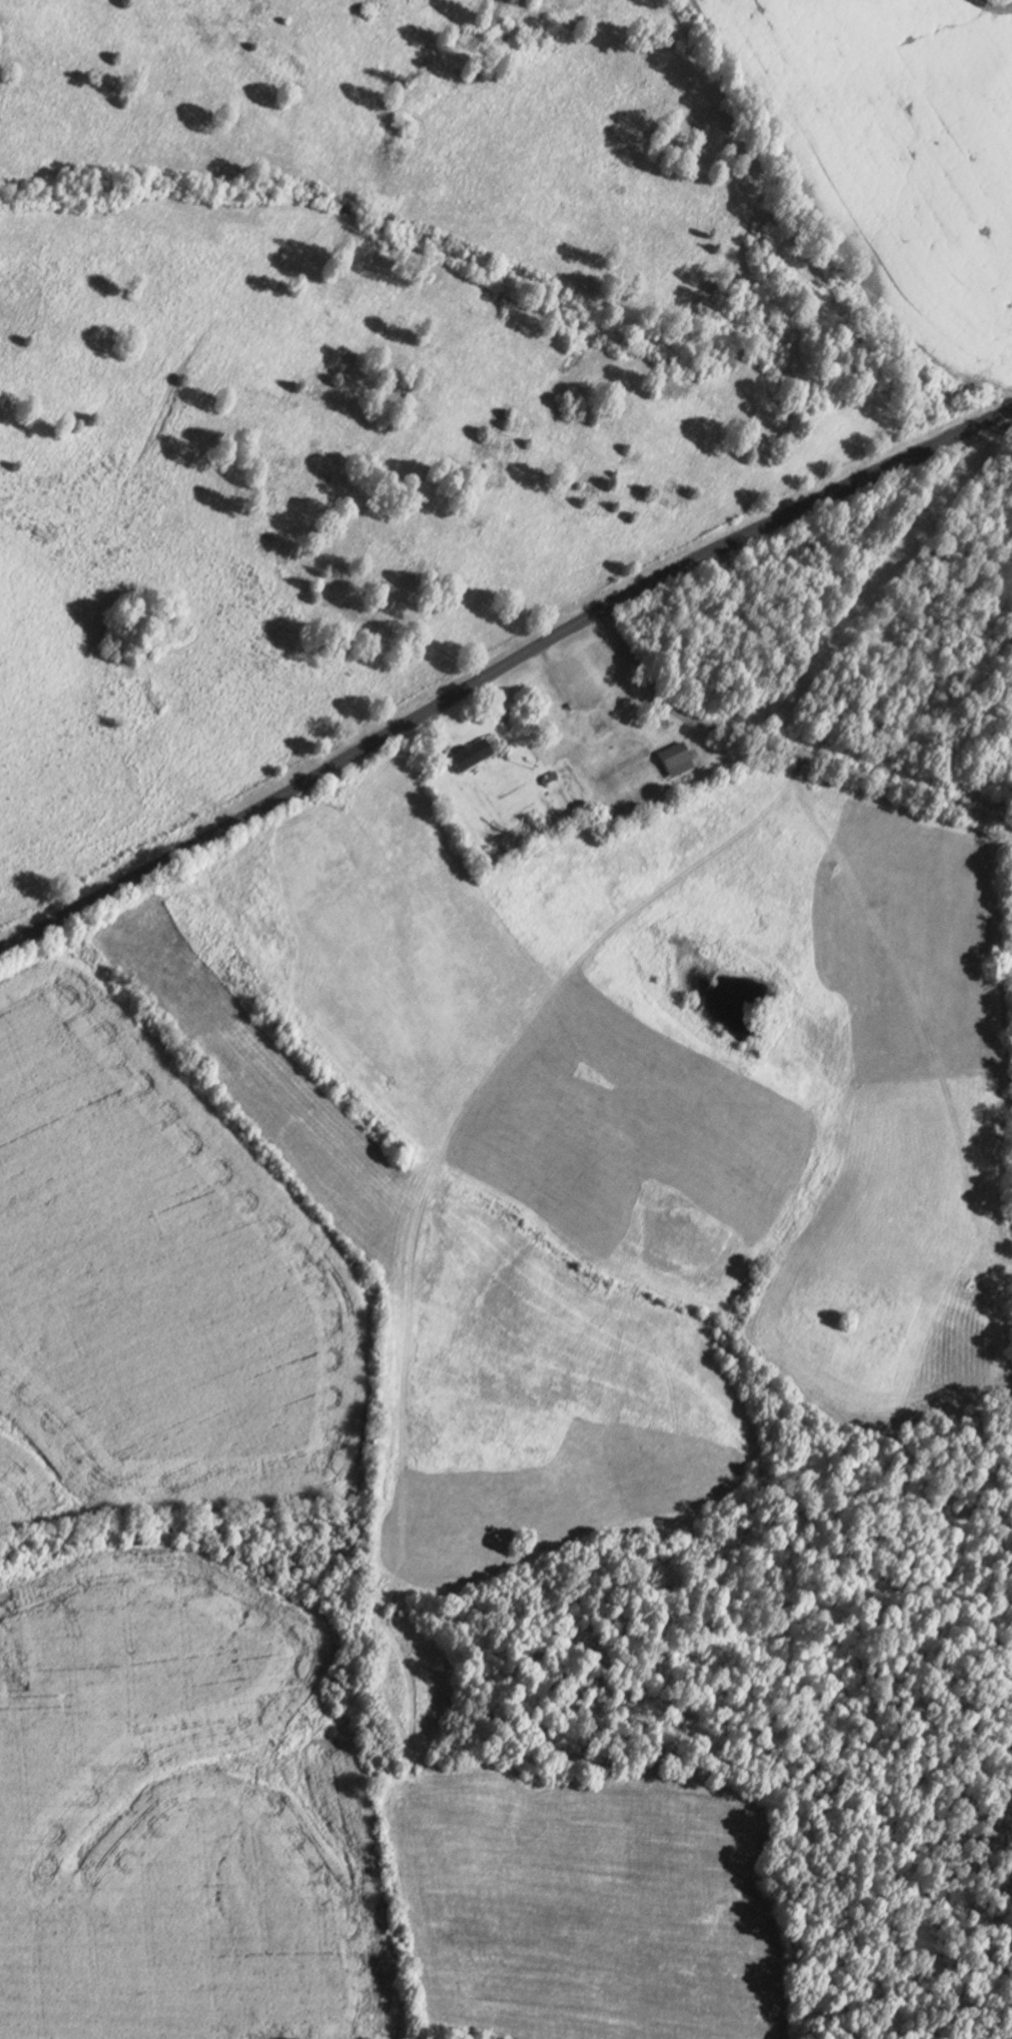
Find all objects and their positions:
building: (929, 565)
road: (500, 668)
building: (586, 721)
building: (468, 758)
building: (673, 762)

